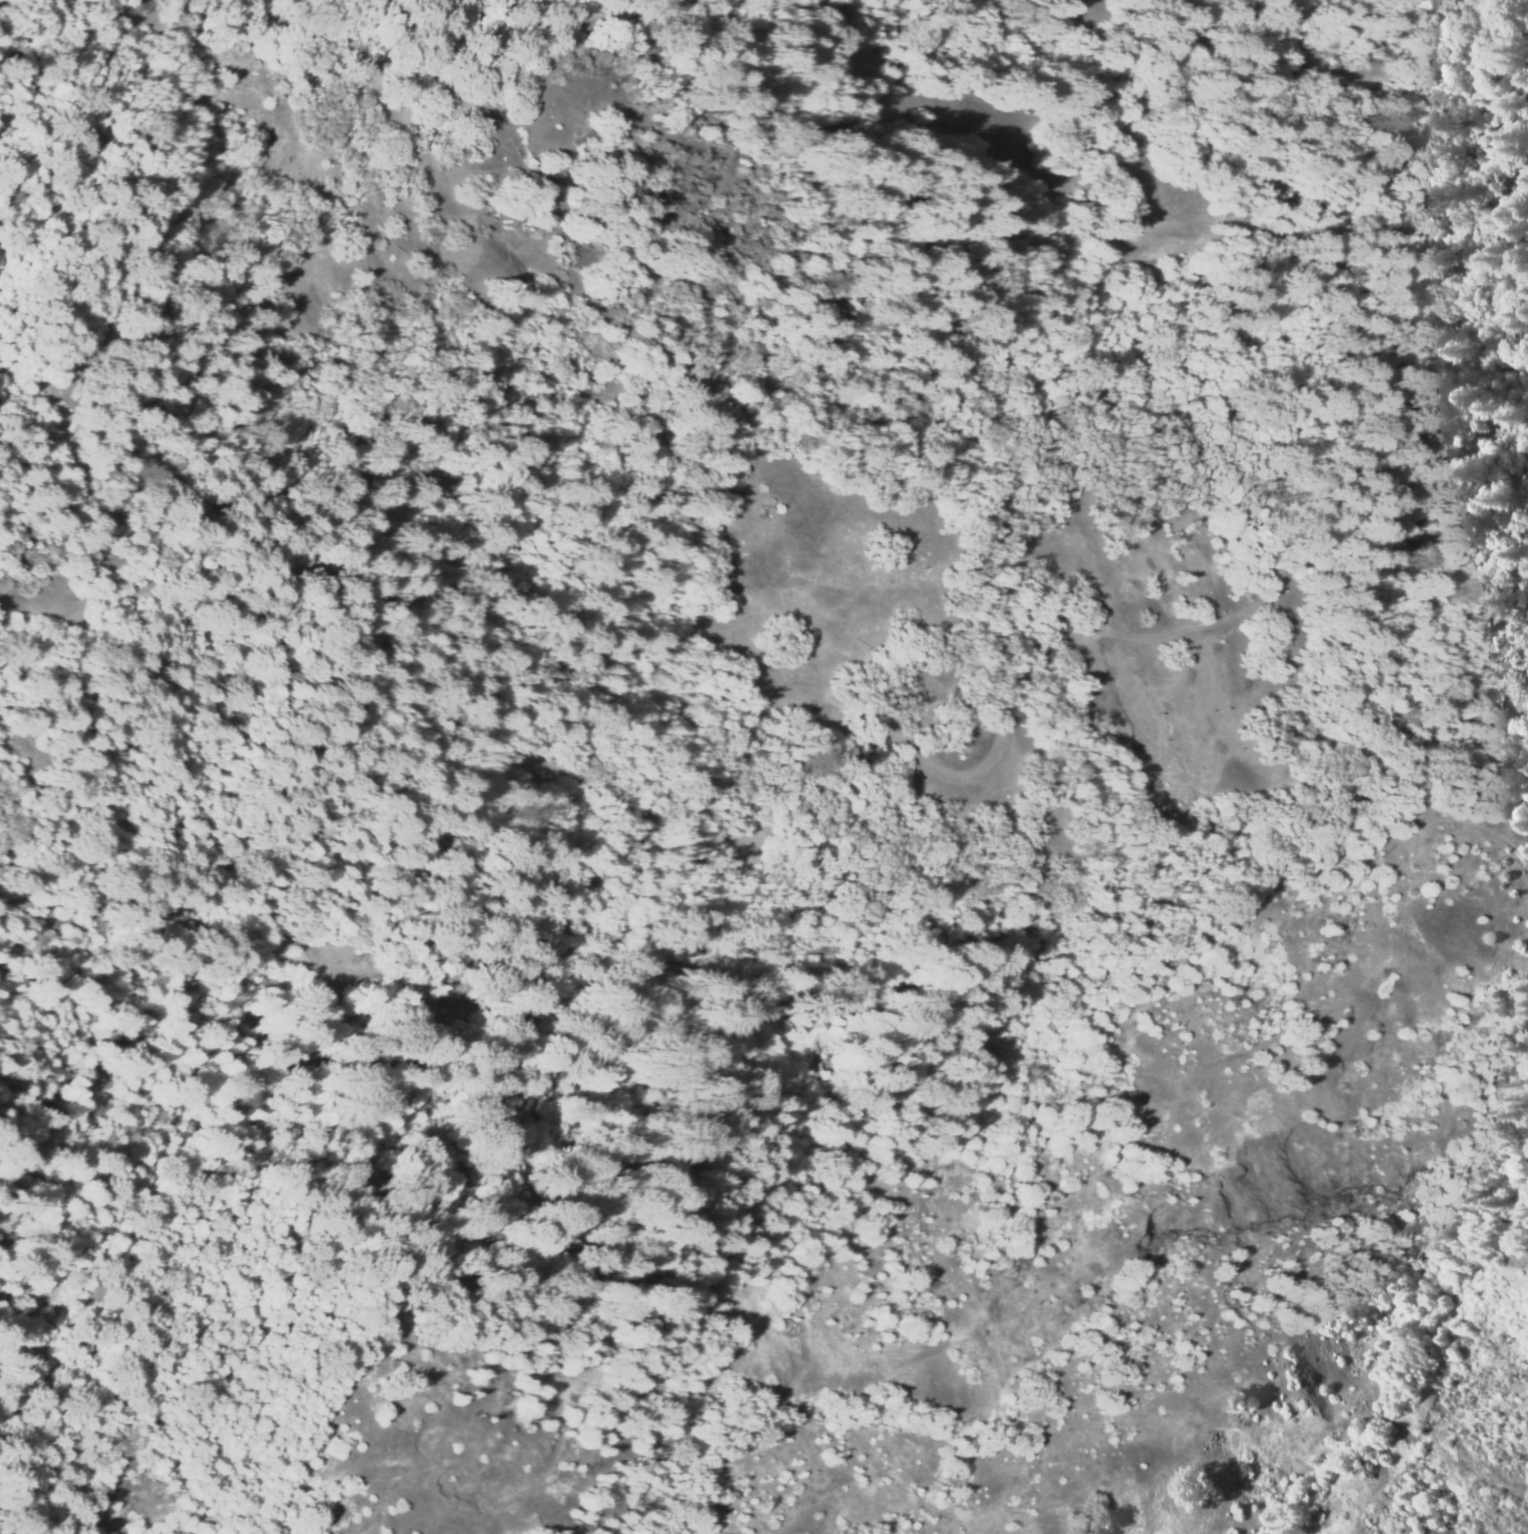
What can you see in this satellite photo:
road: (1300, 608)

